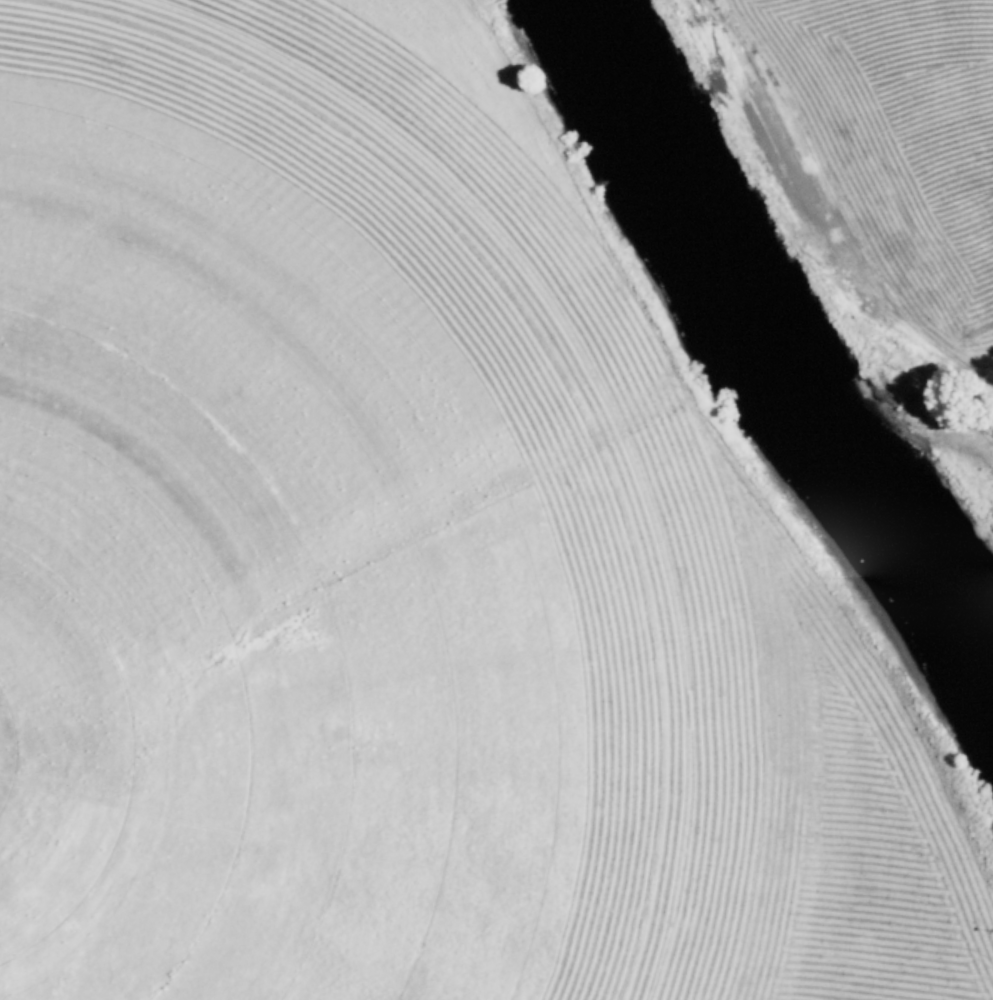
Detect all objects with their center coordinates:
river: (780, 375)
road: (948, 417)

